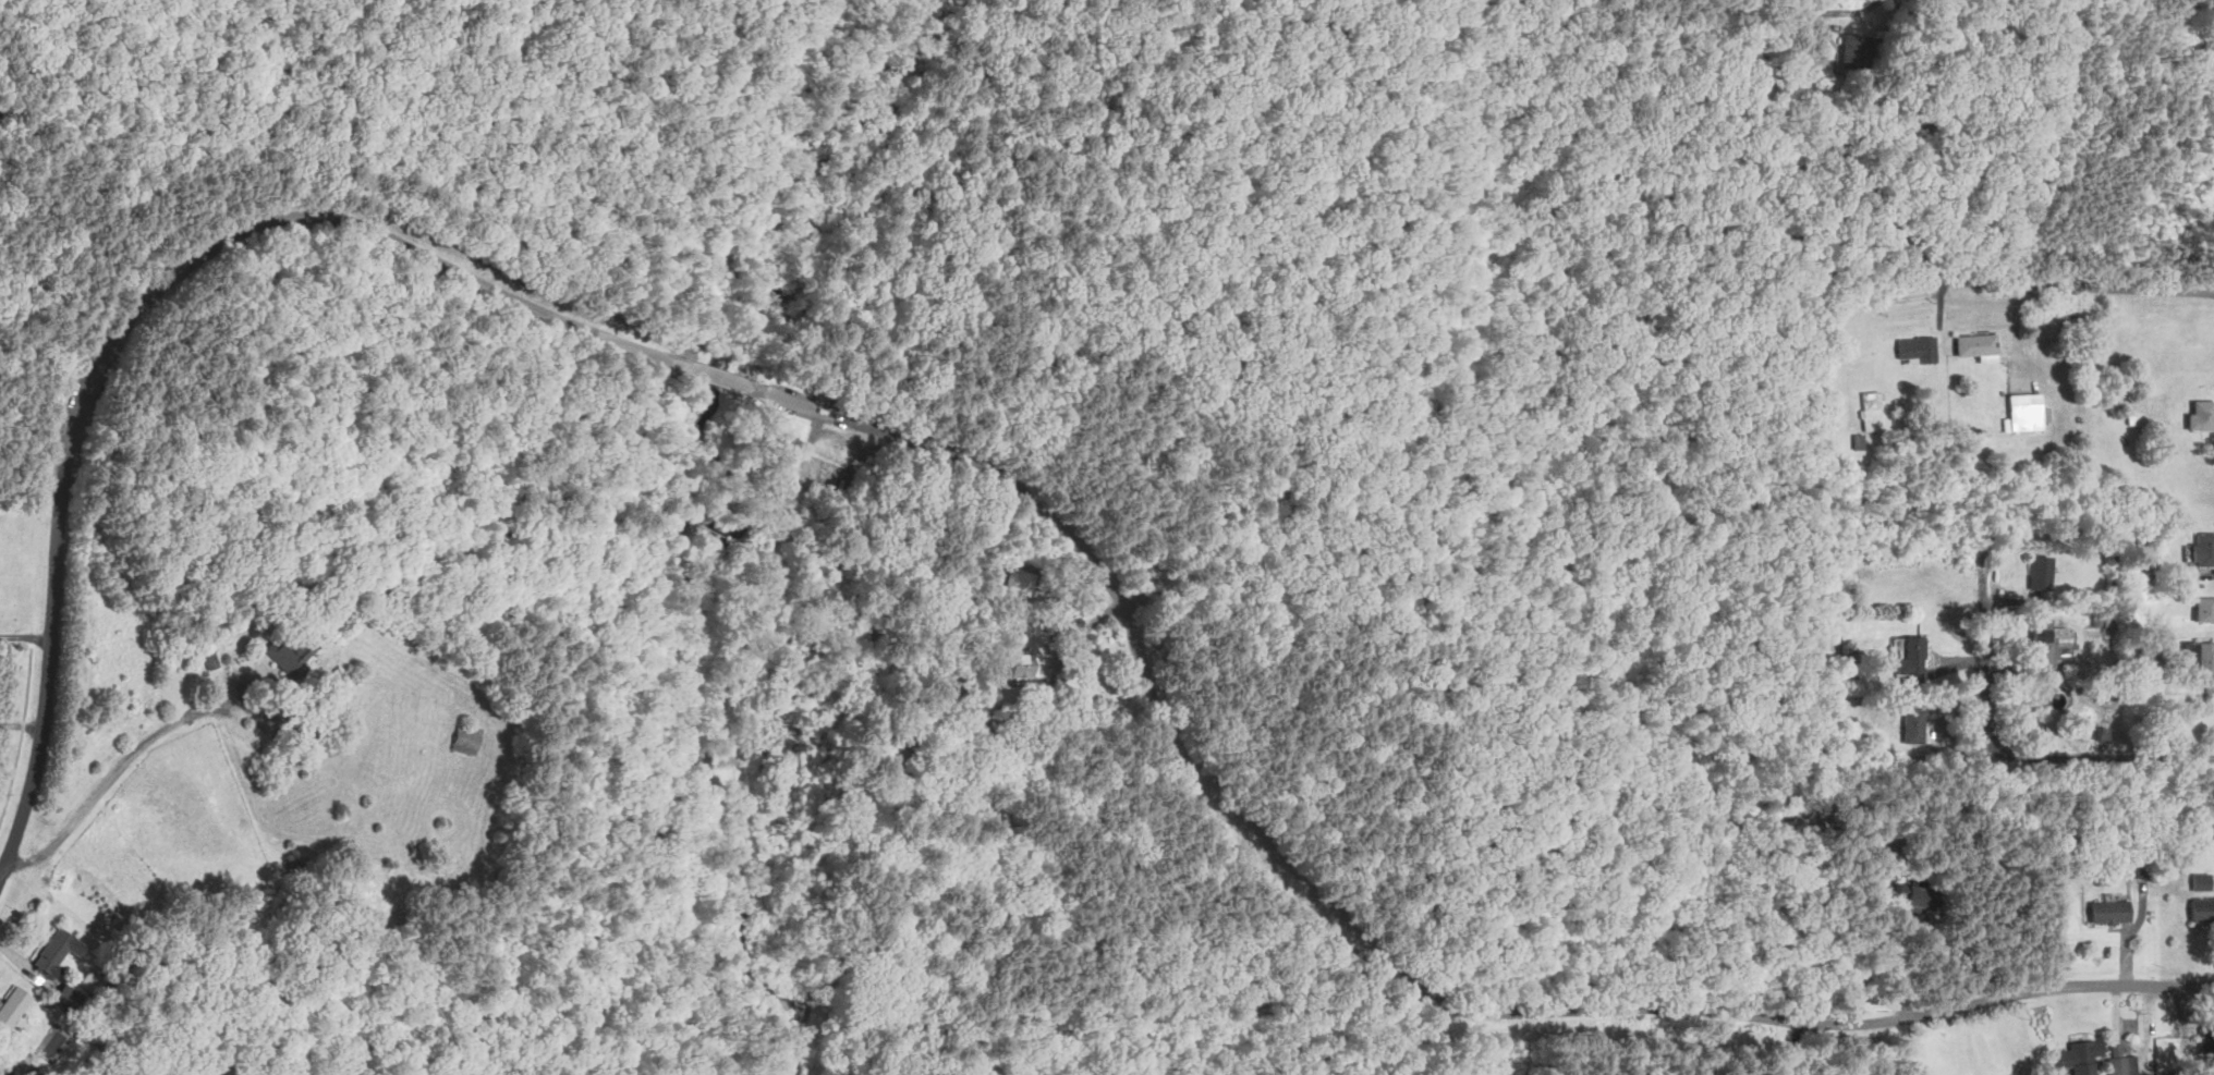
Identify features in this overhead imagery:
road: (1743, 14)
road: (1822, 15)
road: (1809, 22)
building: (1880, 32)
building: (1856, 49)
road: (2209, 62)
road: (2192, 123)
road: (375, 133)
road: (879, 191)
road: (121, 196)
road: (264, 225)
road: (1925, 272)
road: (1896, 298)
street lamp: (1934, 301)
road: (2016, 325)
parking lot: (111, 343)
building: (1979, 345)
building: (1917, 346)
road: (653, 353)
road: (726, 379)
road: (810, 407)
building: (1871, 410)
building: (2022, 413)
building: (2046, 413)
building: (2202, 415)
building: (2129, 418)
building: (1858, 442)
road: (810, 448)
street lamp: (847, 471)
building: (2204, 549)
building: (2039, 572)
building: (1021, 581)
building: (113, 590)
building: (2164, 591)
building: (2205, 609)
building: (2096, 619)
road: (1094, 623)
road: (25, 637)
building: (2046, 642)
road: (34, 644)
building: (291, 652)
building: (209, 658)
building: (1911, 659)
building: (2200, 660)
building: (1019, 665)
road: (737, 679)
road: (46, 701)
road: (21, 724)
building: (1912, 724)
building: (2102, 734)
road: (22, 741)
road: (2008, 755)
road: (109, 779)
road: (743, 853)
building: (2140, 866)
road: (728, 867)
building: (2125, 868)
building: (2200, 880)
building: (1921, 897)
building: (2202, 907)
building: (2108, 909)
road: (1876, 951)
building: (58, 953)
road: (25, 964)
road: (708, 978)
road: (801, 982)
road: (1401, 987)
road: (510, 1001)
building: (13, 1007)
building: (2206, 1038)
road: (1796, 1049)
road: (9, 1051)
park: (1652, 1053)
building: (2081, 1056)
building: (2, 1064)
building: (2121, 1065)

